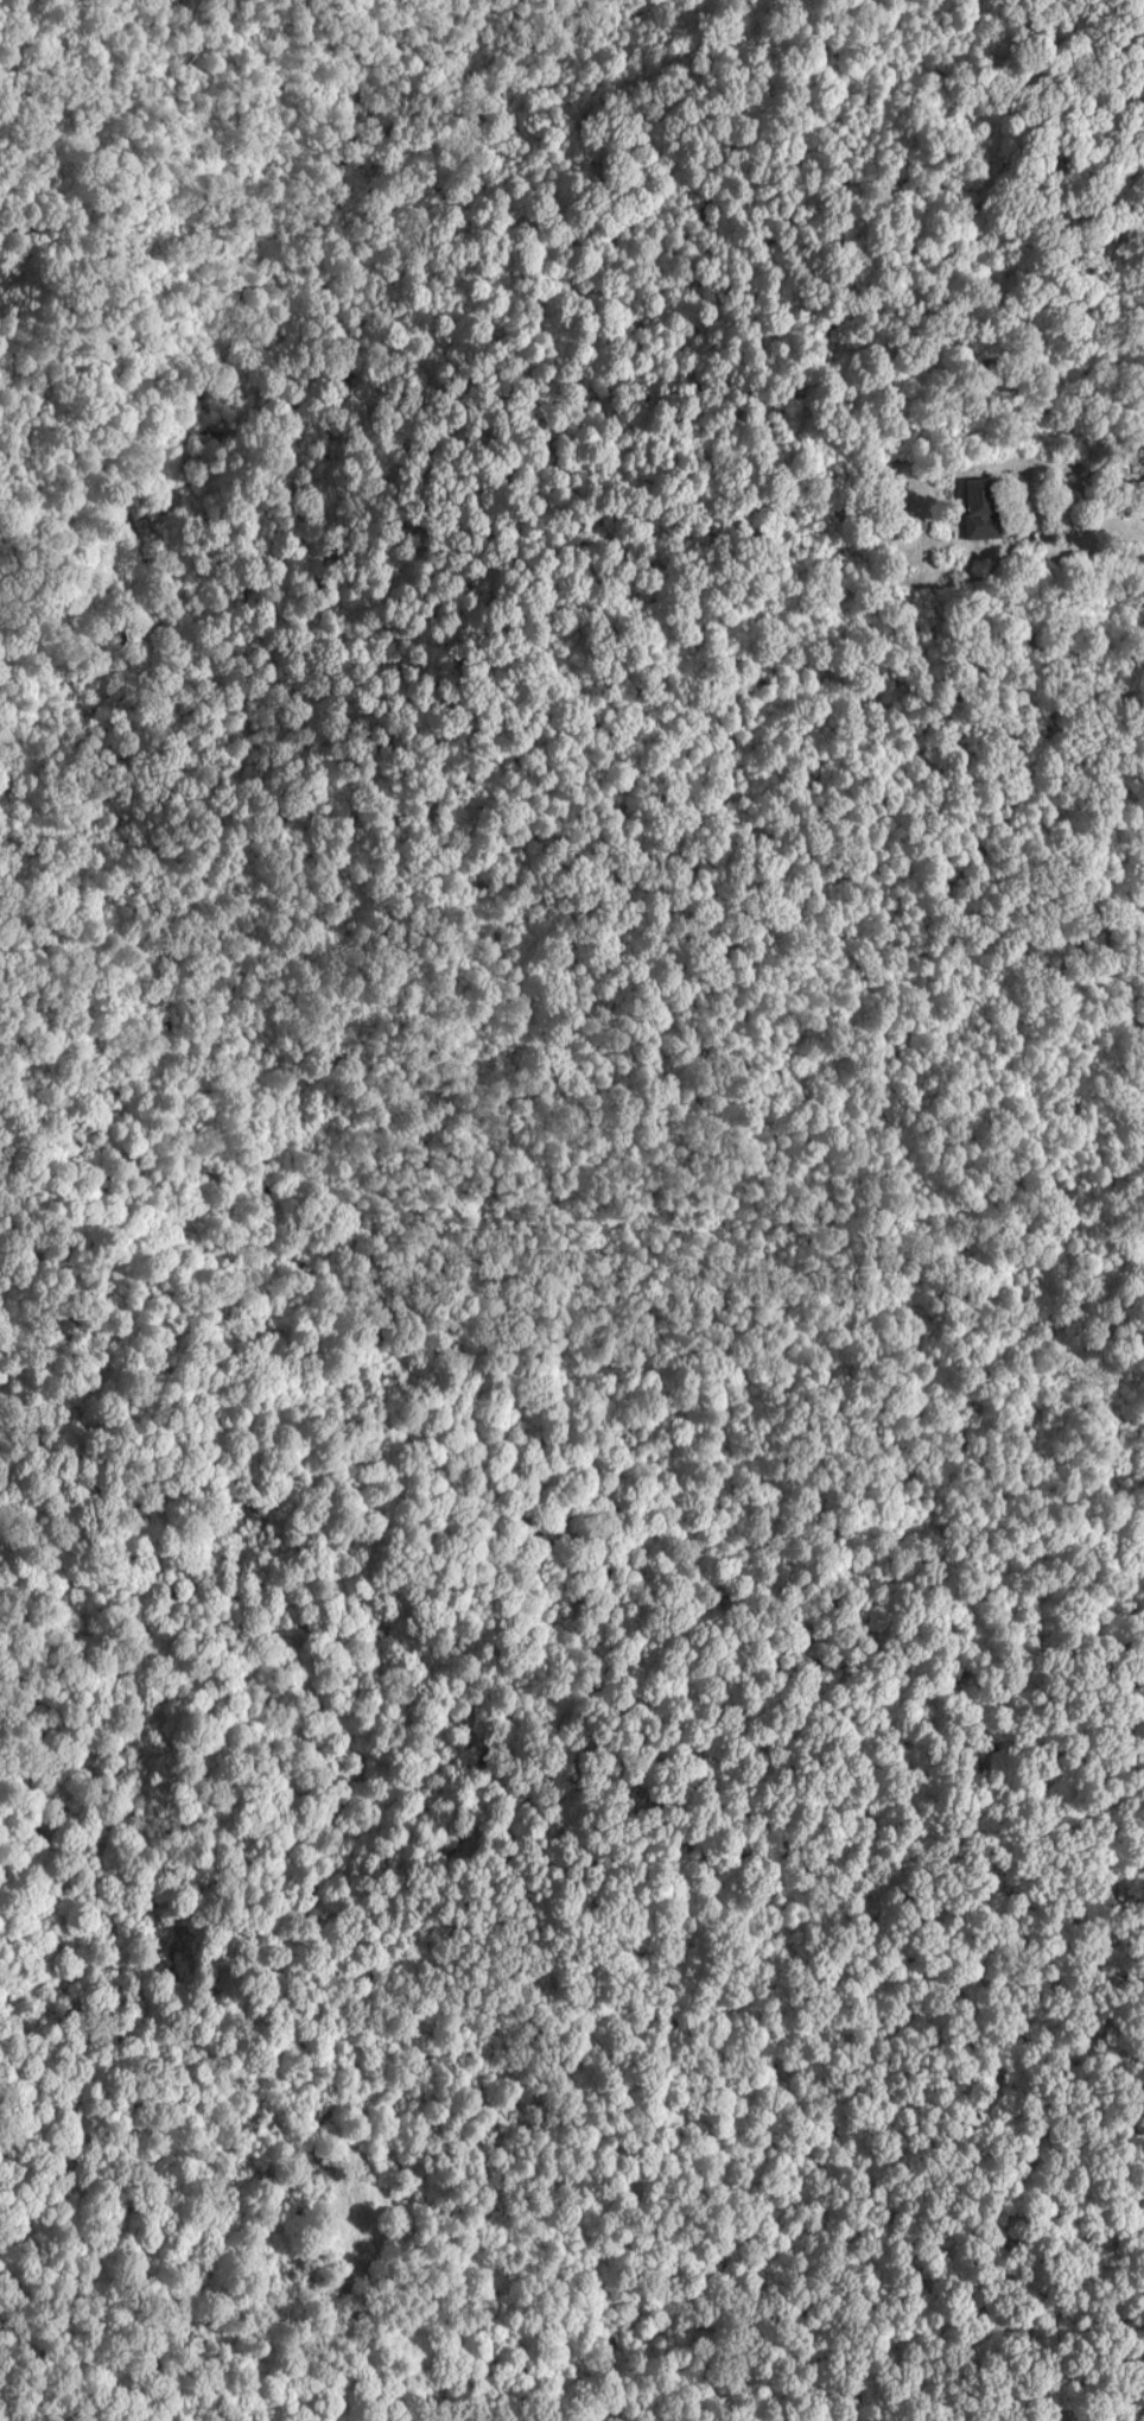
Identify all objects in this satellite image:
road: (1088, 500)

